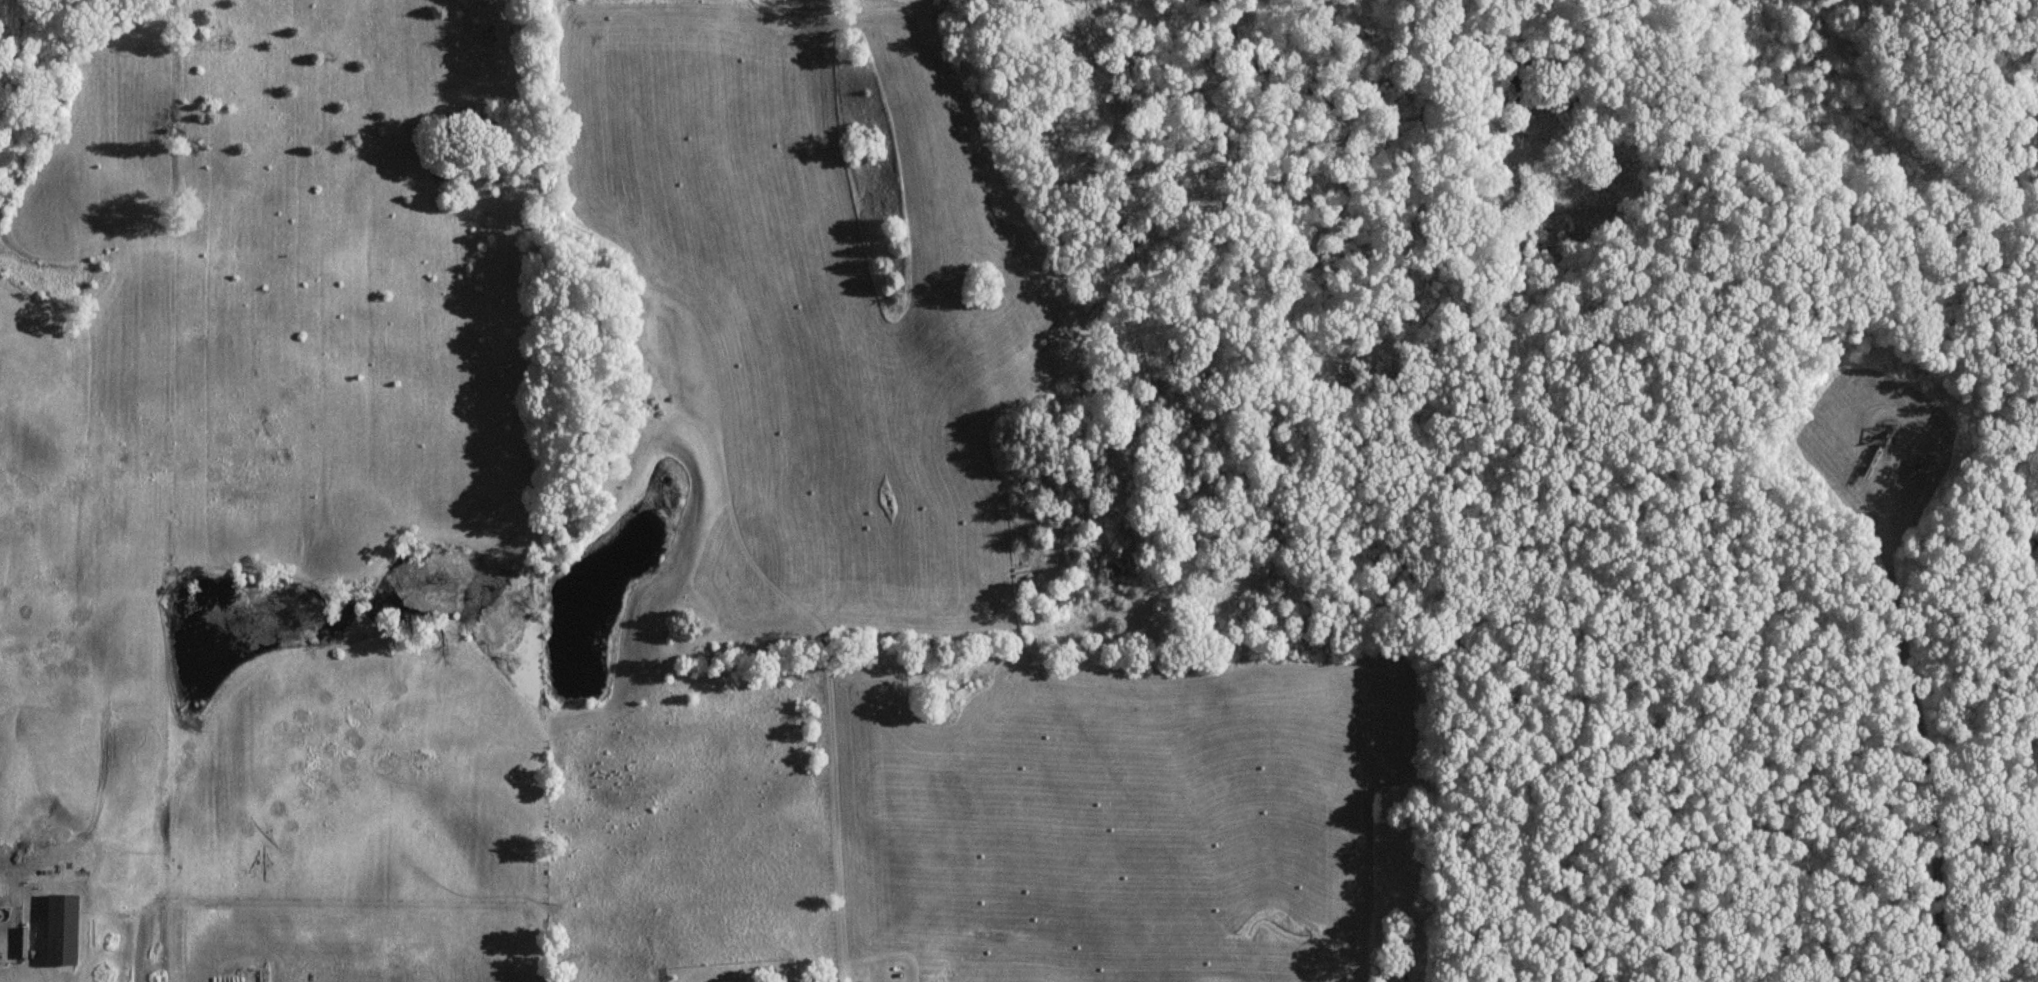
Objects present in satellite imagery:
building: (63, 929)

